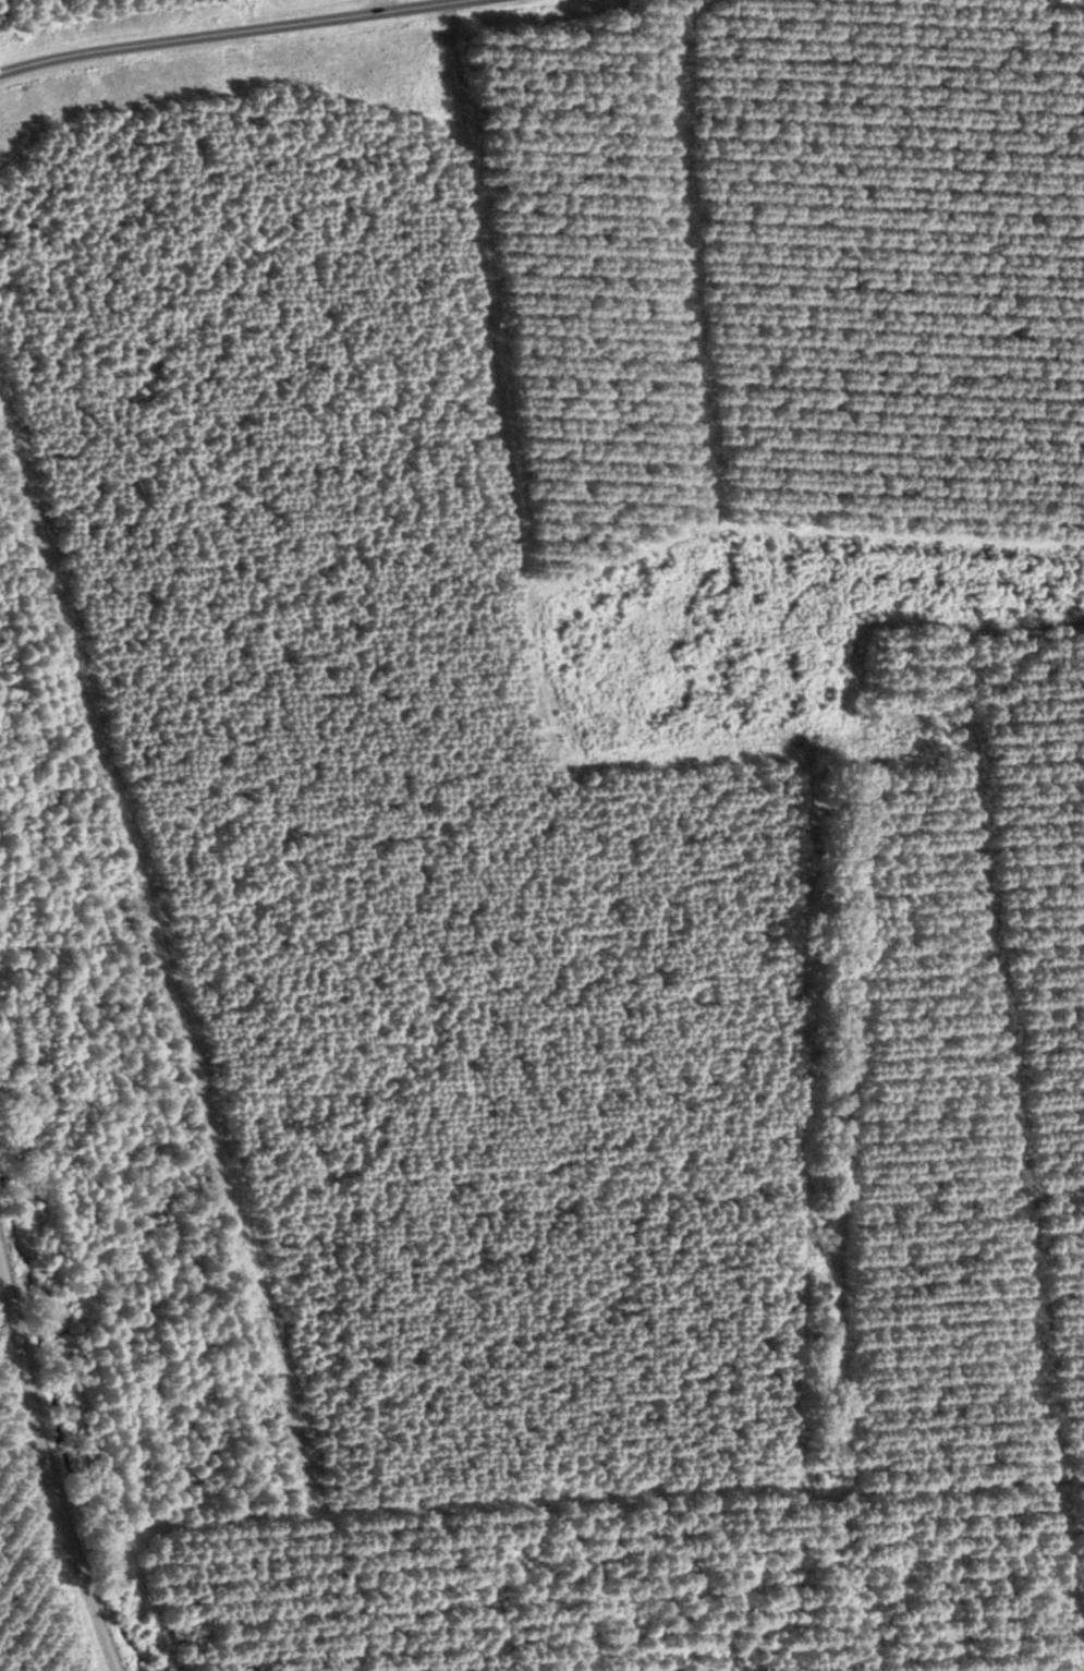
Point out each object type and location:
road: (209, 28)
road: (54, 1437)

